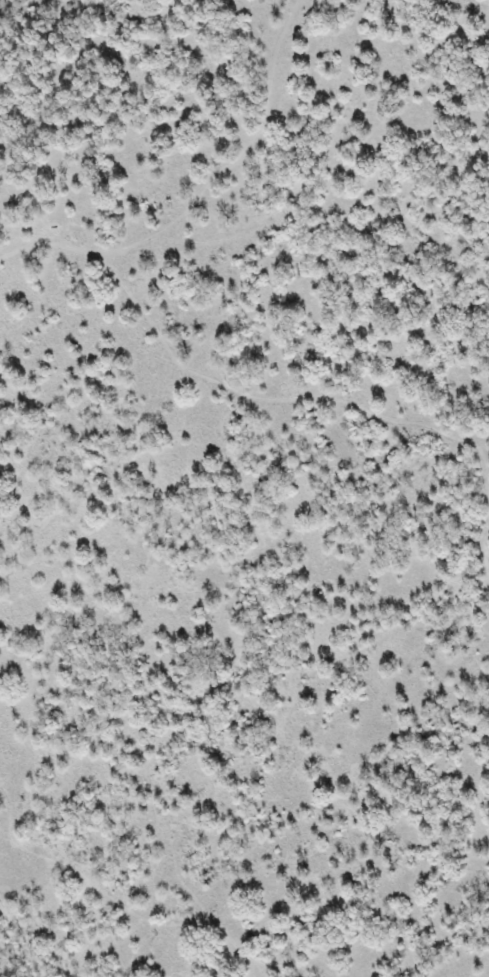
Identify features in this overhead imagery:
road: (245, 609)

